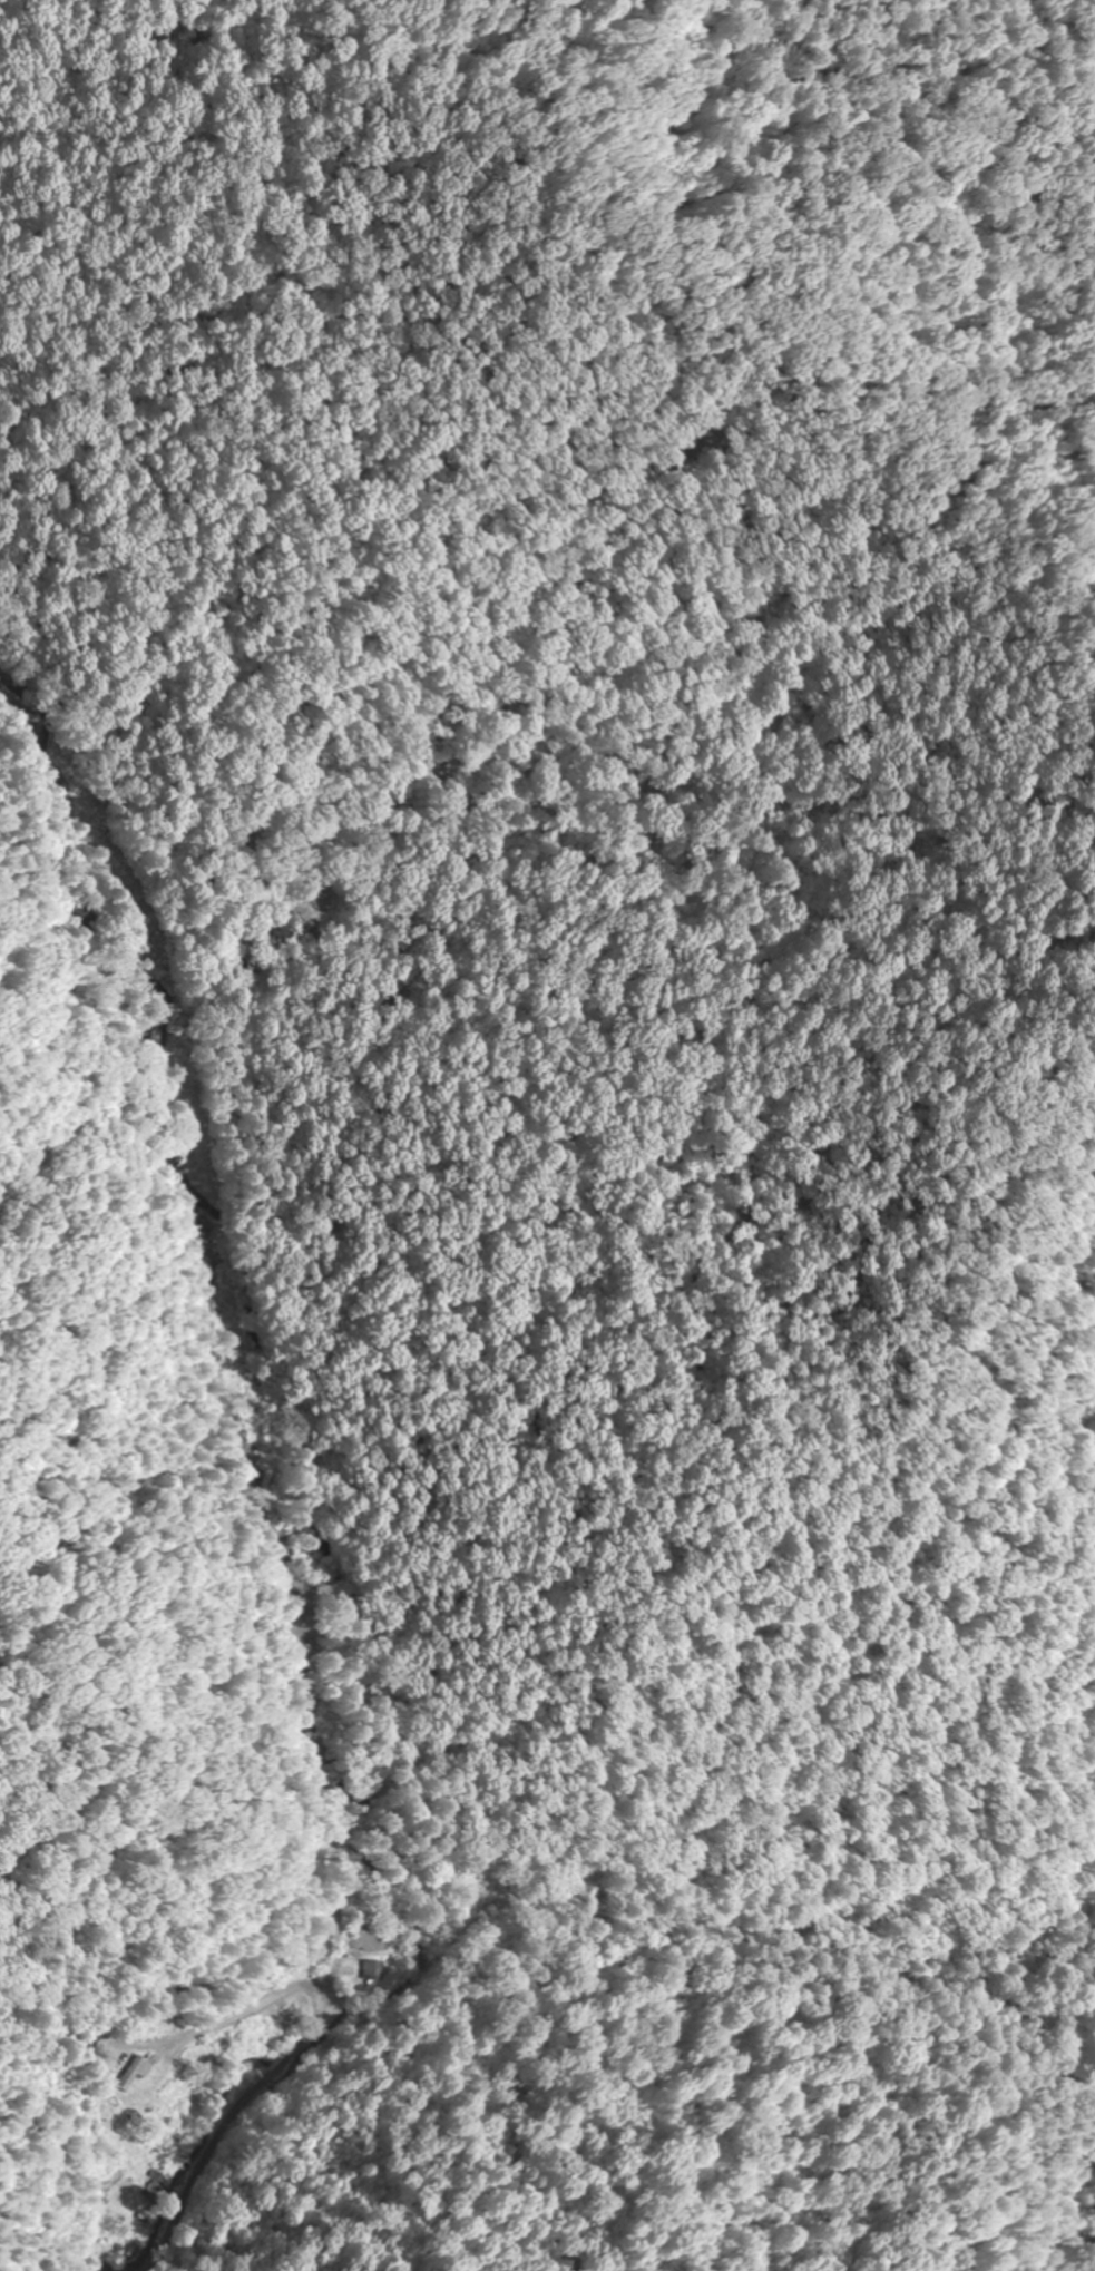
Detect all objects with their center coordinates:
road: (257, 1491)
building: (370, 1970)
building: (136, 2074)

